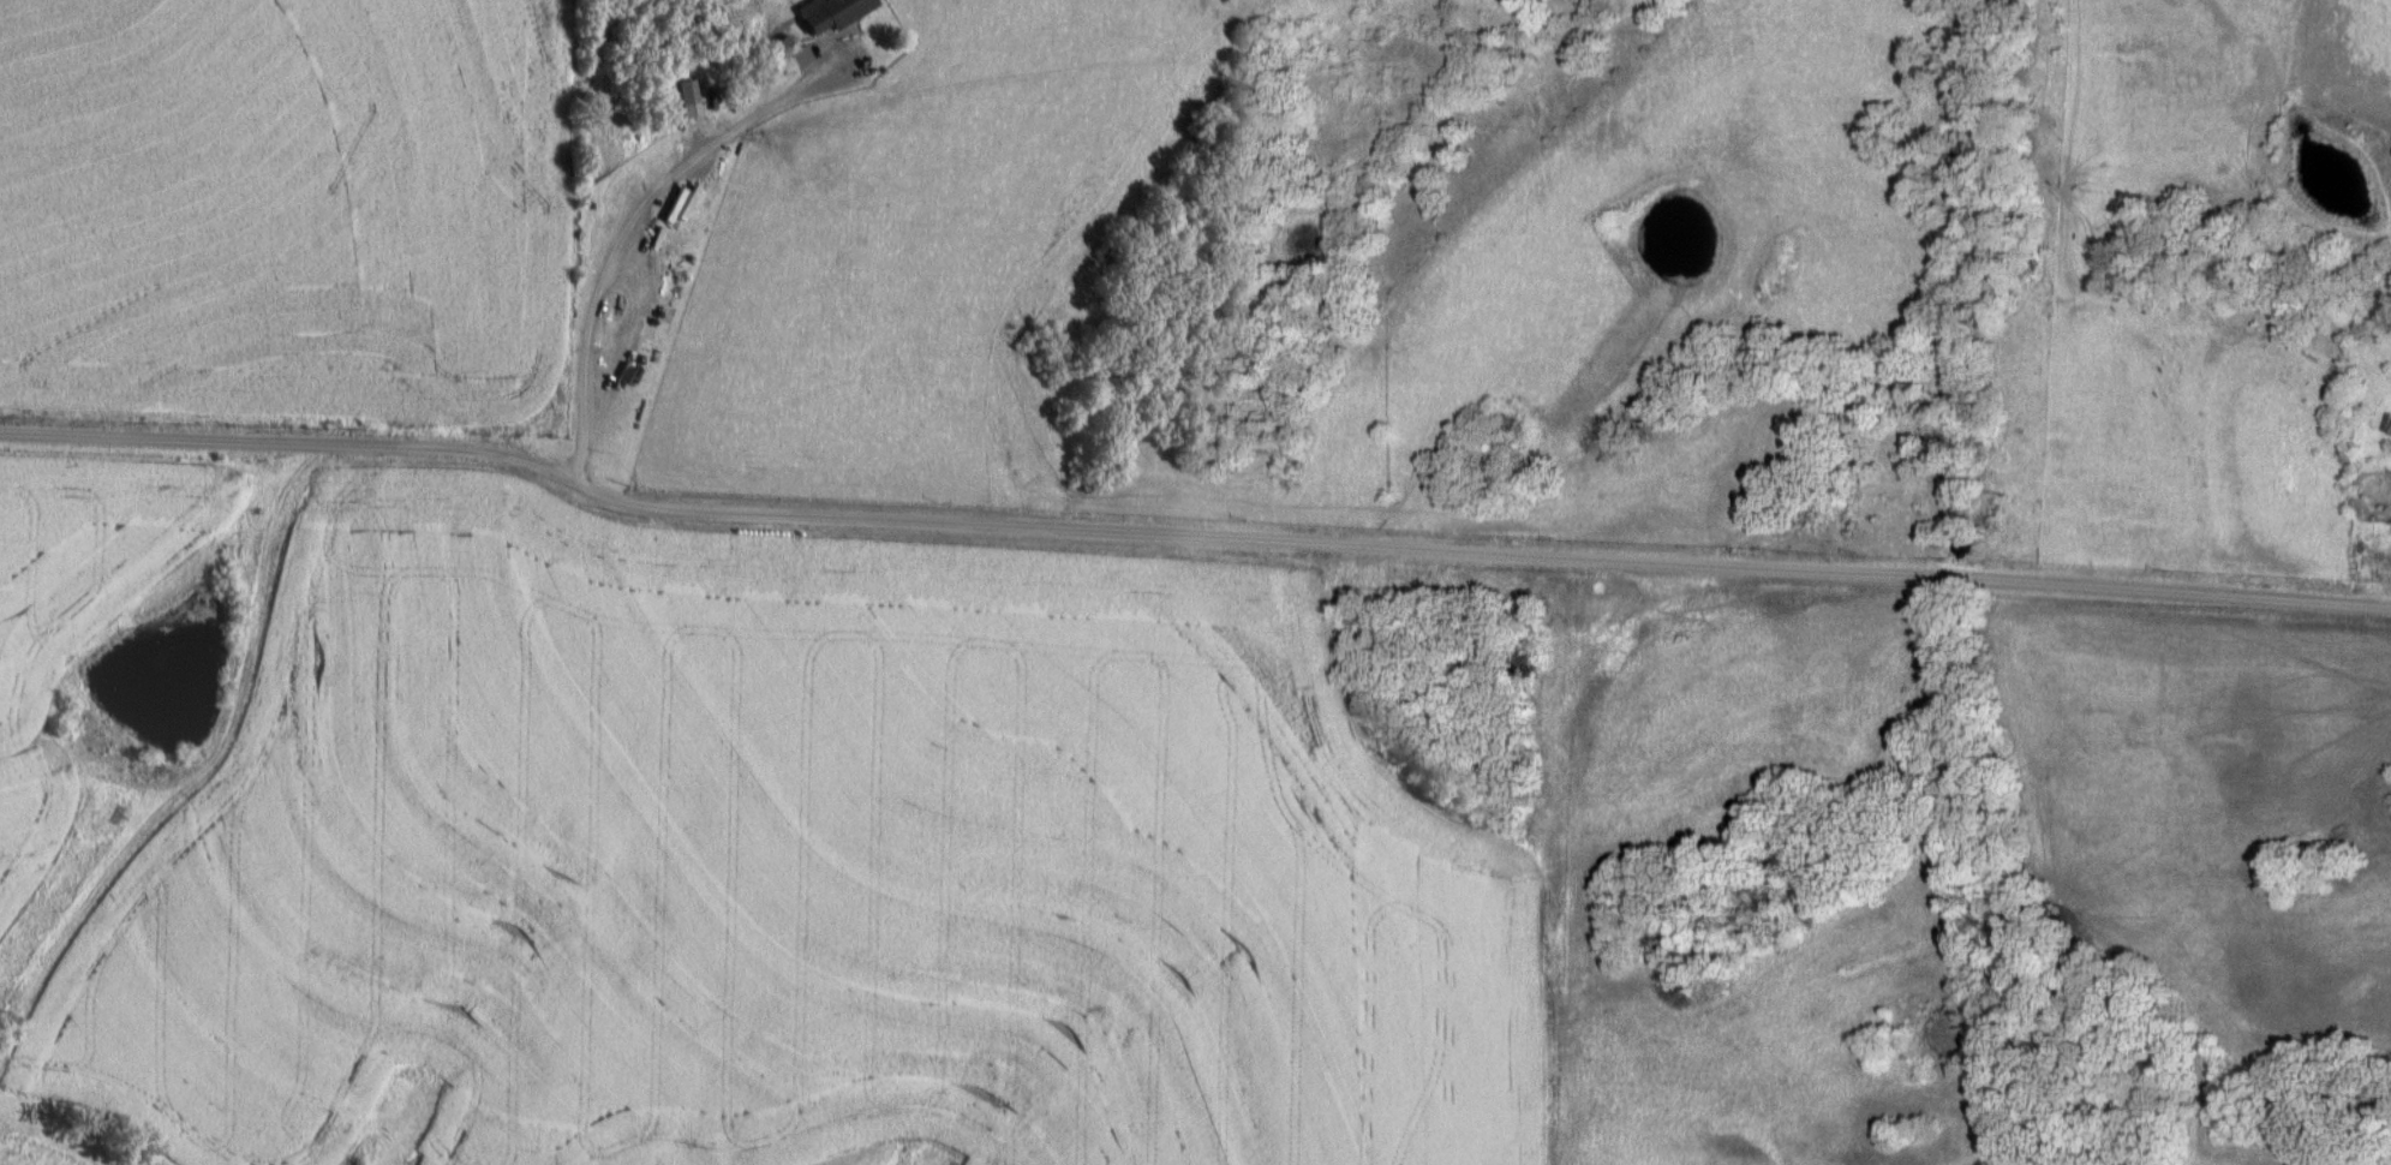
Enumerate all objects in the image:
building: (837, 14)
road: (848, 38)
road: (617, 246)
road: (1190, 542)

